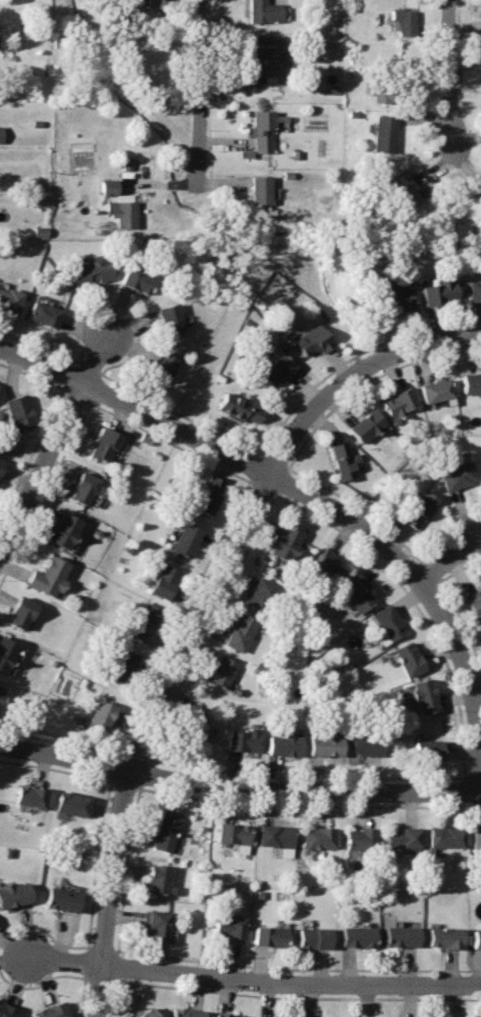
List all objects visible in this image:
building: (480, 1)
building: (142, 4)
building: (262, 11)
building: (403, 21)
building: (264, 61)
road: (448, 73)
building: (480, 75)
building: (384, 89)
road: (197, 90)
building: (260, 130)
building: (382, 132)
building: (0, 134)
building: (108, 187)
building: (402, 188)
building: (258, 189)
building: (122, 213)
building: (90, 269)
building: (135, 278)
building: (474, 290)
building: (436, 292)
building: (393, 295)
building: (9, 299)
building: (42, 312)
building: (168, 318)
building: (310, 340)
road: (96, 357)
building: (160, 366)
building: (276, 369)
road: (351, 371)
building: (470, 382)
building: (434, 390)
building: (396, 401)
building: (237, 407)
building: (18, 411)
building: (362, 425)
building: (103, 444)
building: (340, 460)
road: (42, 463)
building: (1, 464)
building: (454, 475)
building: (81, 488)
building: (206, 494)
road: (317, 500)
building: (416, 509)
building: (63, 531)
building: (182, 539)
building: (284, 542)
road: (444, 559)
building: (327, 567)
building: (47, 577)
building: (162, 580)
building: (258, 594)
building: (357, 595)
building: (472, 604)
building: (19, 613)
building: (388, 623)
building: (143, 624)
building: (238, 632)
building: (6, 652)
building: (408, 659)
building: (119, 666)
building: (220, 671)
building: (0, 687)
building: (424, 695)
building: (99, 718)
building: (193, 726)
road: (141, 733)
building: (242, 740)
building: (367, 744)
building: (283, 745)
building: (324, 745)
building: (429, 750)
road: (238, 786)
building: (30, 797)
building: (73, 804)
building: (167, 828)
building: (234, 836)
building: (405, 837)
building: (318, 838)
building: (447, 838)
building: (277, 839)
building: (362, 839)
building: (477, 839)
building: (158, 880)
building: (13, 894)
building: (62, 898)
building: (158, 926)
building: (228, 927)
building: (400, 936)
building: (269, 937)
building: (358, 937)
building: (445, 938)
building: (315, 939)
building: (476, 939)
road: (254, 980)
building: (7, 1010)
building: (53, 1011)
building: (147, 1013)
building: (185, 1013)
building: (224, 1015)

